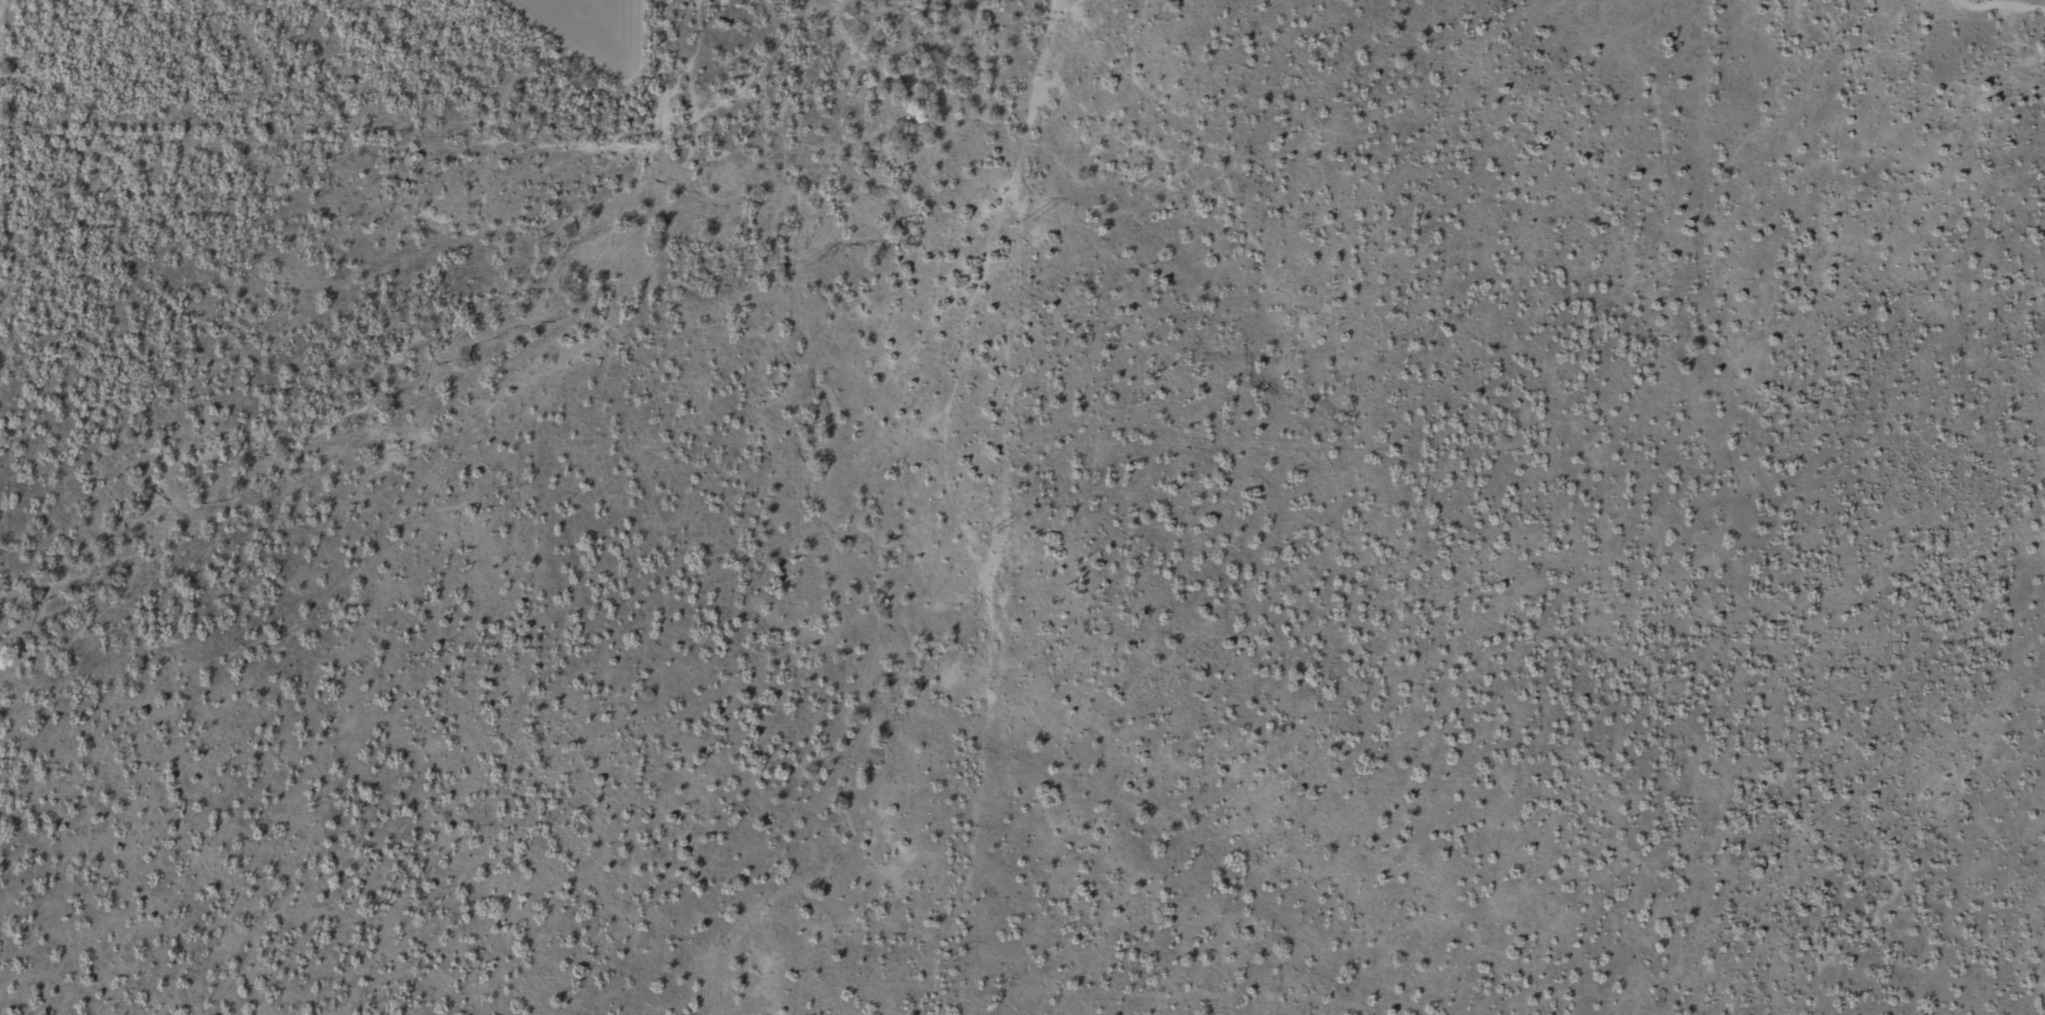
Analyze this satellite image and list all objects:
power tower: (1027, 221)
power tower: (992, 531)
power tower: (948, 961)

